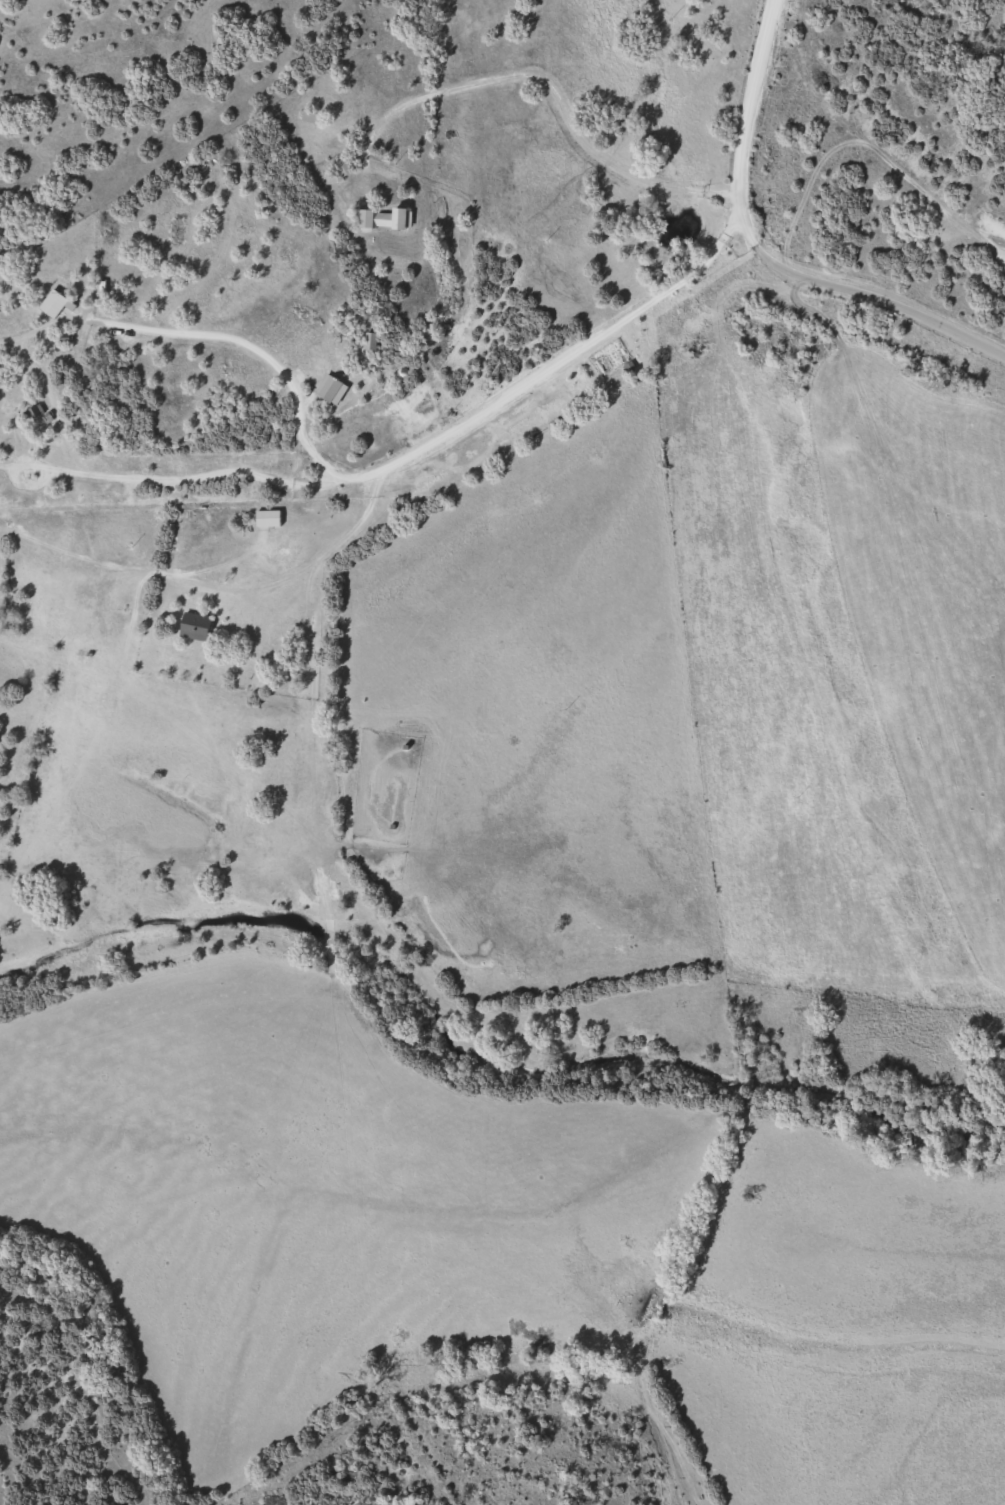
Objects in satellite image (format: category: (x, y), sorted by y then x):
building: (313, 116)
road: (751, 122)
building: (384, 219)
road: (885, 292)
building: (54, 303)
building: (371, 341)
building: (332, 388)
road: (446, 441)
building: (269, 518)
building: (196, 625)

